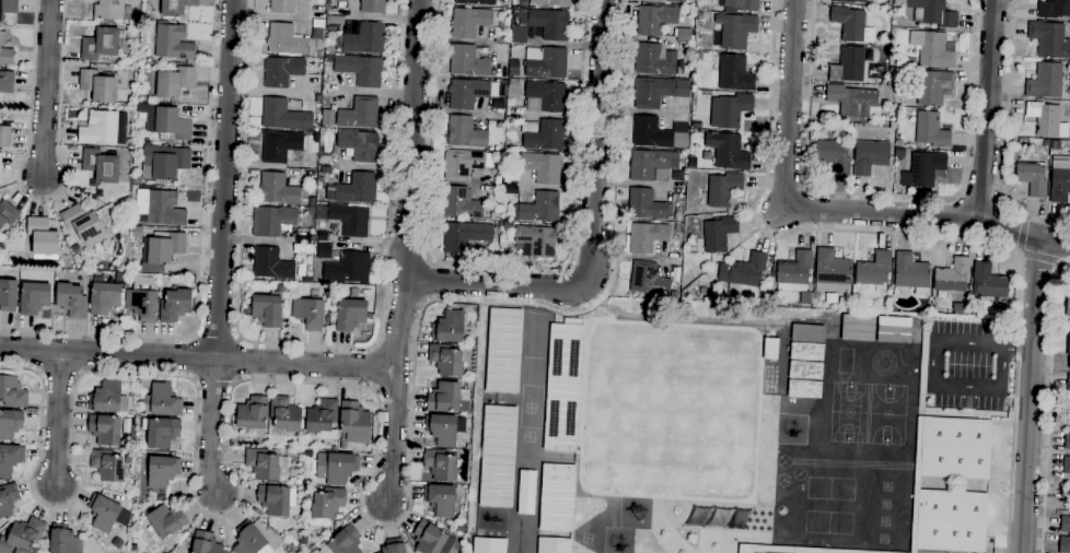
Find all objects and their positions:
building: (340, 1)
building: (661, 1)
building: (848, 1)
building: (476, 2)
building: (523, 3)
building: (550, 3)
building: (327, 4)
building: (741, 5)
building: (283, 7)
building: (372, 7)
building: (8, 8)
building: (175, 8)
building: (111, 10)
building: (1054, 10)
building: (932, 13)
building: (698, 15)
building: (654, 20)
building: (472, 22)
building: (333, 23)
building: (539, 25)
building: (851, 25)
building: (734, 32)
building: (684, 35)
building: (362, 39)
building: (501, 40)
building: (1049, 40)
building: (172, 42)
building: (290, 42)
building: (101, 45)
building: (932, 49)
building: (4, 51)
building: (697, 56)
building: (328, 58)
building: (656, 61)
building: (467, 62)
building: (910, 62)
building: (545, 63)
building: (850, 64)
building: (360, 70)
building: (892, 70)
building: (281, 72)
building: (512, 72)
building: (734, 74)
building: (883, 81)
building: (1045, 81)
building: (5, 82)
building: (168, 83)
building: (98, 86)
building: (933, 87)
road: (46, 90)
building: (467, 93)
building: (652, 93)
building: (546, 96)
building: (853, 102)
road: (789, 104)
road: (988, 109)
building: (732, 110)
building: (352, 115)
building: (283, 116)
building: (1046, 120)
building: (172, 123)
building: (499, 126)
building: (100, 129)
building: (931, 130)
building: (465, 133)
building: (650, 133)
building: (4, 136)
building: (543, 136)
road: (1003, 138)
building: (898, 143)
road: (596, 144)
building: (1045, 144)
building: (277, 145)
building: (359, 145)
building: (728, 151)
building: (833, 155)
building: (870, 157)
building: (0, 163)
building: (162, 163)
building: (464, 164)
building: (650, 164)
building: (100, 165)
building: (540, 167)
building: (926, 169)
building: (325, 170)
building: (510, 175)
building: (678, 176)
road: (224, 178)
building: (1032, 178)
building: (497, 180)
road: (409, 185)
building: (1059, 185)
building: (353, 189)
building: (722, 189)
building: (281, 191)
road: (886, 196)
road: (42, 199)
building: (460, 204)
building: (647, 205)
building: (160, 208)
building: (540, 209)
building: (8, 214)
building: (677, 215)
road: (928, 215)
building: (349, 220)
building: (271, 221)
building: (84, 225)
building: (677, 228)
building: (137, 232)
building: (719, 234)
road: (1021, 234)
building: (464, 236)
building: (44, 237)
building: (646, 237)
road: (922, 237)
building: (535, 242)
building: (74, 249)
building: (161, 250)
building: (79, 258)
road: (1042, 258)
road: (200, 264)
building: (271, 264)
road: (502, 267)
building: (831, 268)
building: (347, 269)
building: (873, 270)
building: (742, 273)
building: (911, 273)
building: (795, 275)
building: (952, 276)
building: (648, 280)
building: (988, 283)
road: (497, 284)
building: (292, 287)
building: (365, 292)
building: (702, 292)
building: (8, 295)
building: (673, 295)
building: (33, 298)
building: (104, 298)
building: (71, 301)
building: (771, 301)
building: (142, 304)
building: (1068, 305)
building: (174, 306)
building: (266, 309)
building: (310, 311)
building: (350, 315)
building: (449, 328)
building: (856, 328)
building: (892, 329)
road: (216, 338)
road: (310, 345)
road: (1017, 345)
building: (502, 351)
building: (806, 352)
road: (197, 357)
building: (445, 360)
building: (1069, 362)
building: (805, 370)
building: (1068, 383)
road: (934, 386)
building: (561, 387)
road: (363, 388)
building: (804, 389)
building: (12, 392)
road: (1031, 396)
building: (106, 397)
building: (447, 398)
building: (161, 401)
road: (1048, 403)
building: (252, 413)
park: (849, 413)
building: (284, 414)
park: (887, 414)
road: (58, 419)
building: (323, 420)
building: (353, 422)
building: (10, 424)
road: (211, 425)
building: (104, 428)
building: (443, 430)
building: (161, 432)
road: (393, 434)
building: (1067, 442)
building: (955, 448)
building: (307, 452)
building: (496, 456)
building: (10, 459)
building: (261, 463)
building: (440, 464)
building: (107, 466)
building: (1066, 466)
building: (336, 468)
building: (162, 473)
building: (298, 482)
building: (916, 484)
building: (555, 497)
building: (8, 499)
building: (274, 499)
building: (440, 499)
building: (326, 504)
building: (106, 514)
building: (951, 521)
building: (1065, 523)
building: (163, 527)
building: (291, 534)
building: (23, 537)
building: (248, 539)
building: (431, 539)
building: (63, 540)
building: (303, 540)
building: (345, 541)
building: (117, 543)
building: (206, 543)
building: (1063, 544)
building: (487, 545)
building: (392, 546)
building: (775, 550)
building: (225, 551)
building: (841, 552)

